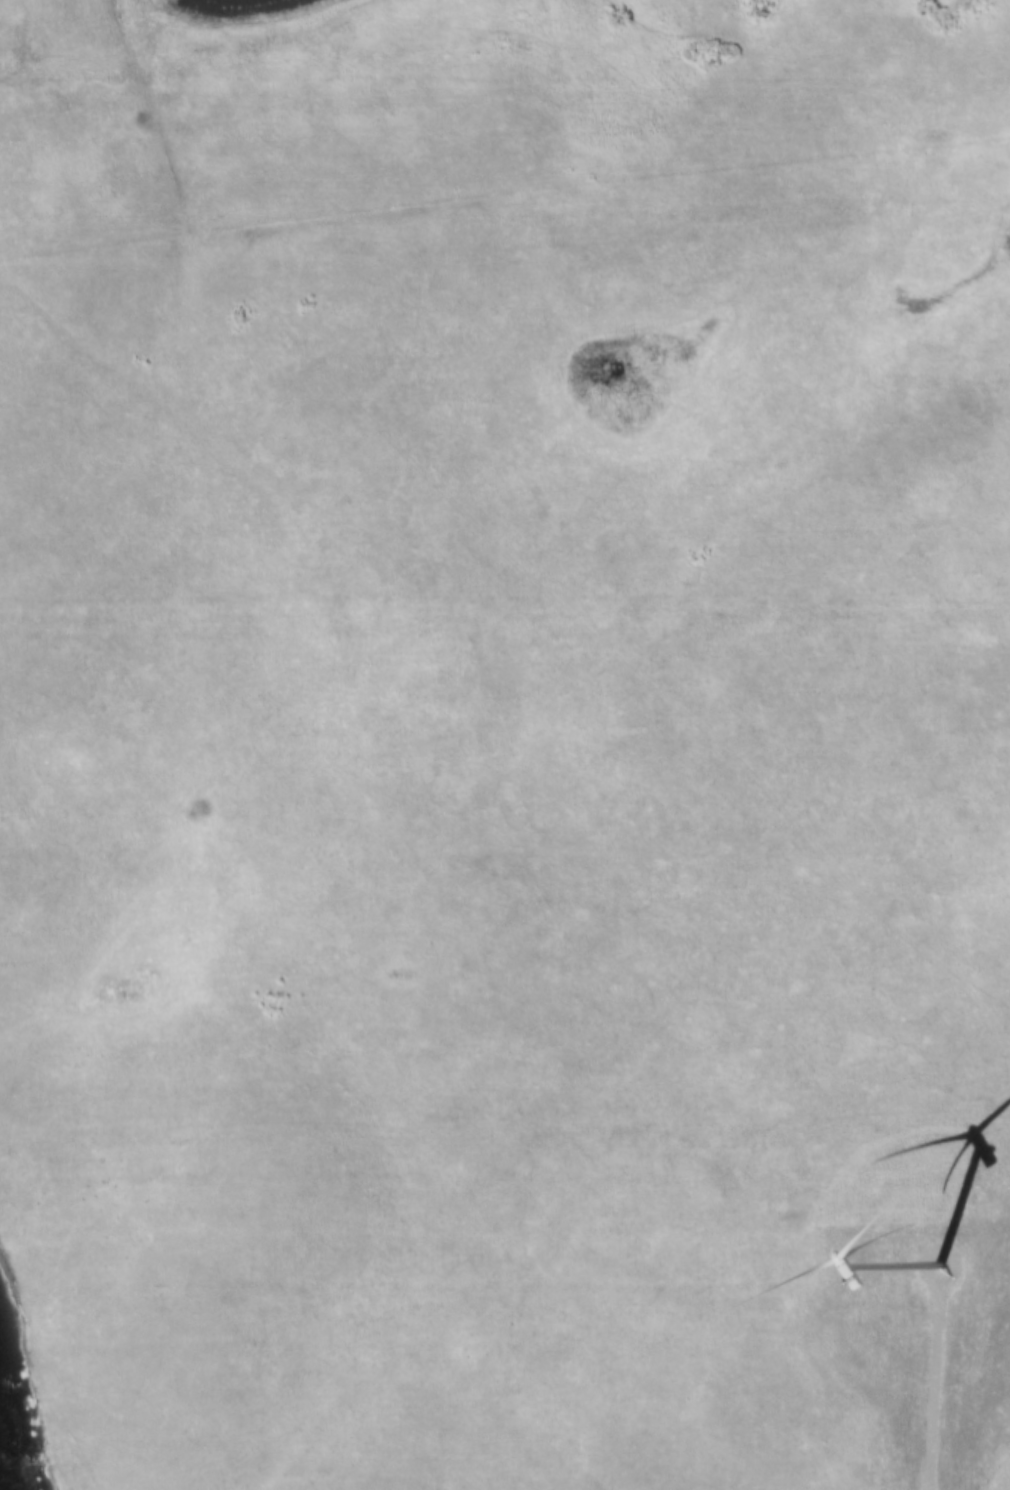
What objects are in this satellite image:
wind turbine: (924, 1250)
road: (929, 1401)

